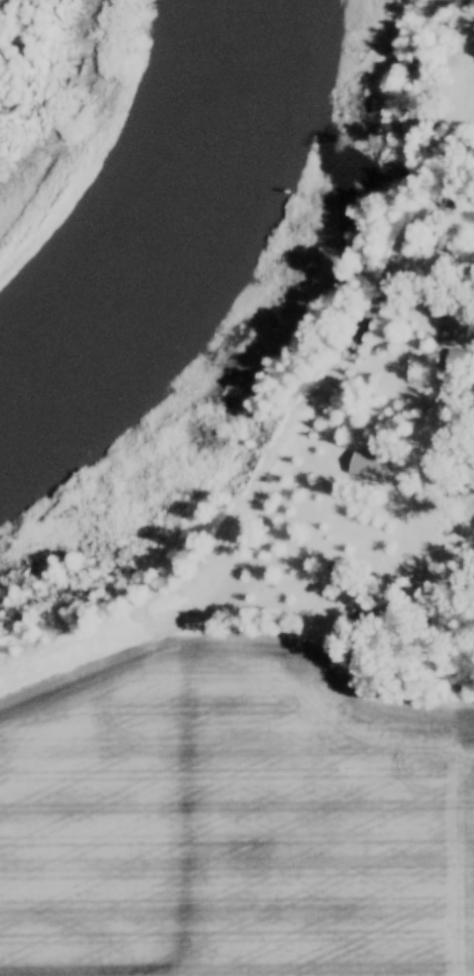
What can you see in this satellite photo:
river: (151, 198)
building: (455, 330)
building: (458, 361)
building: (367, 466)

